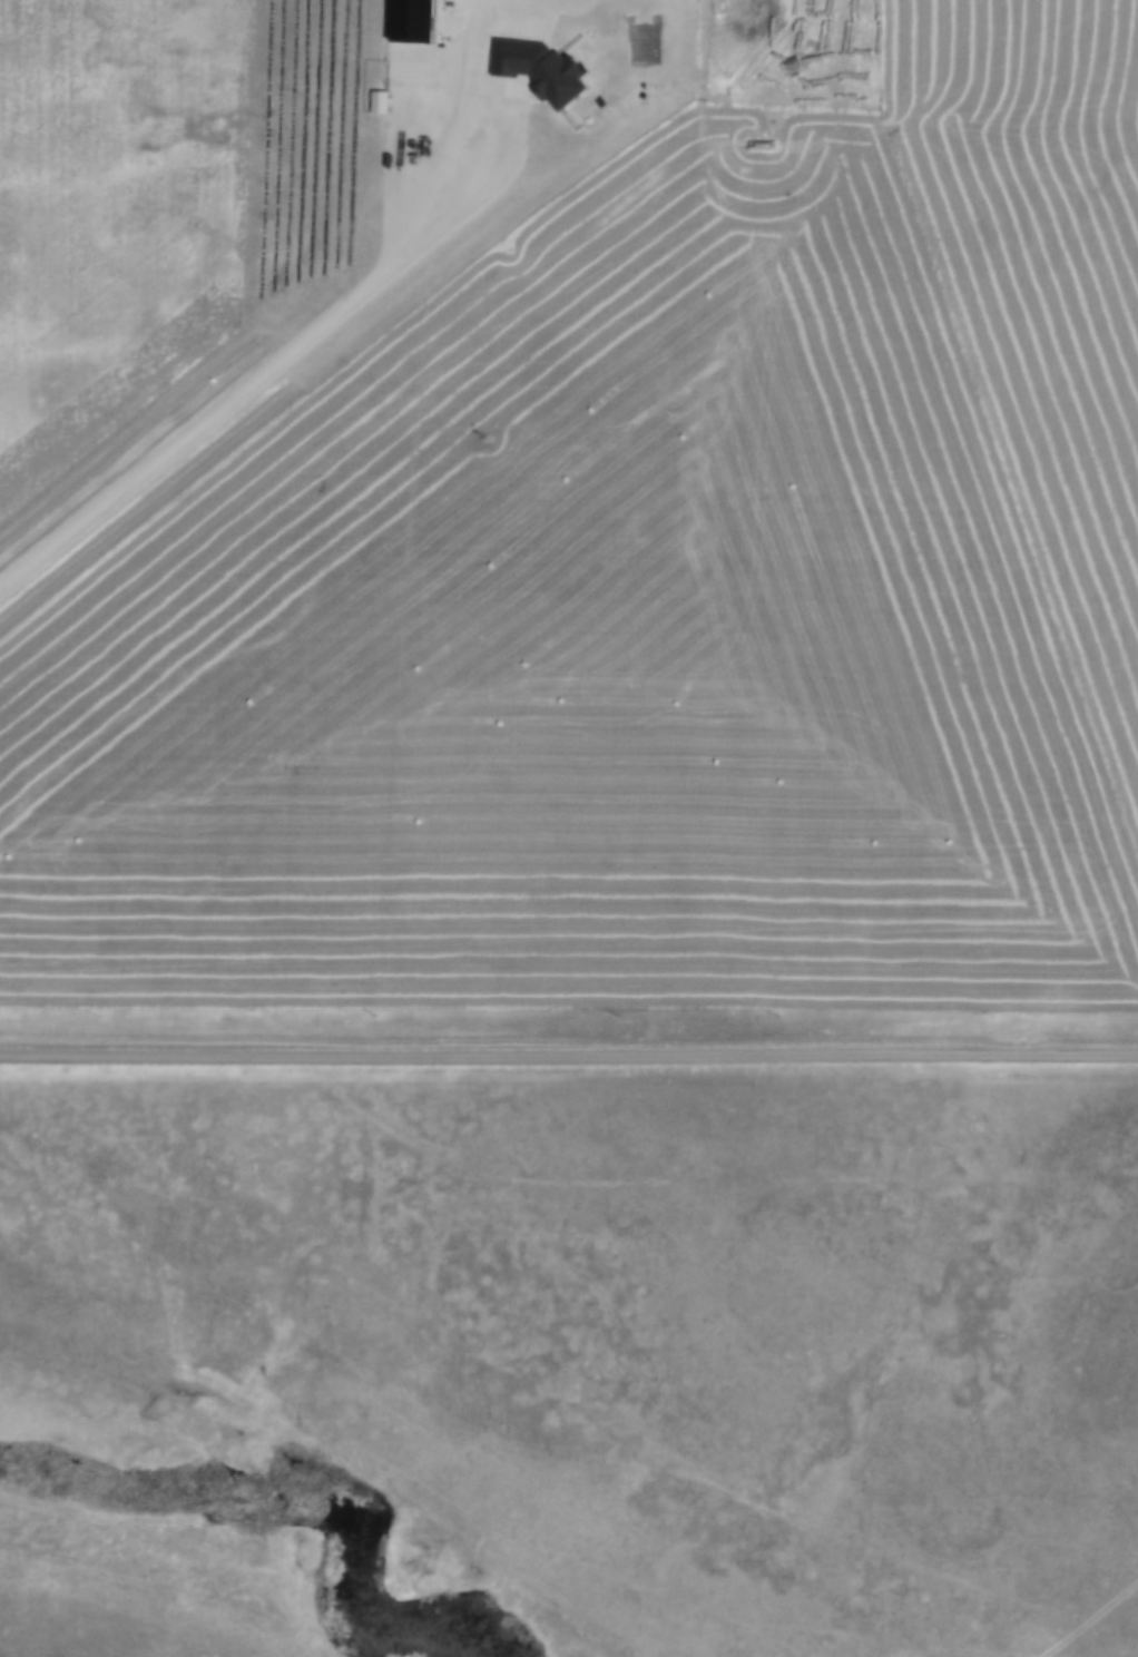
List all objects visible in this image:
road: (569, 1057)

